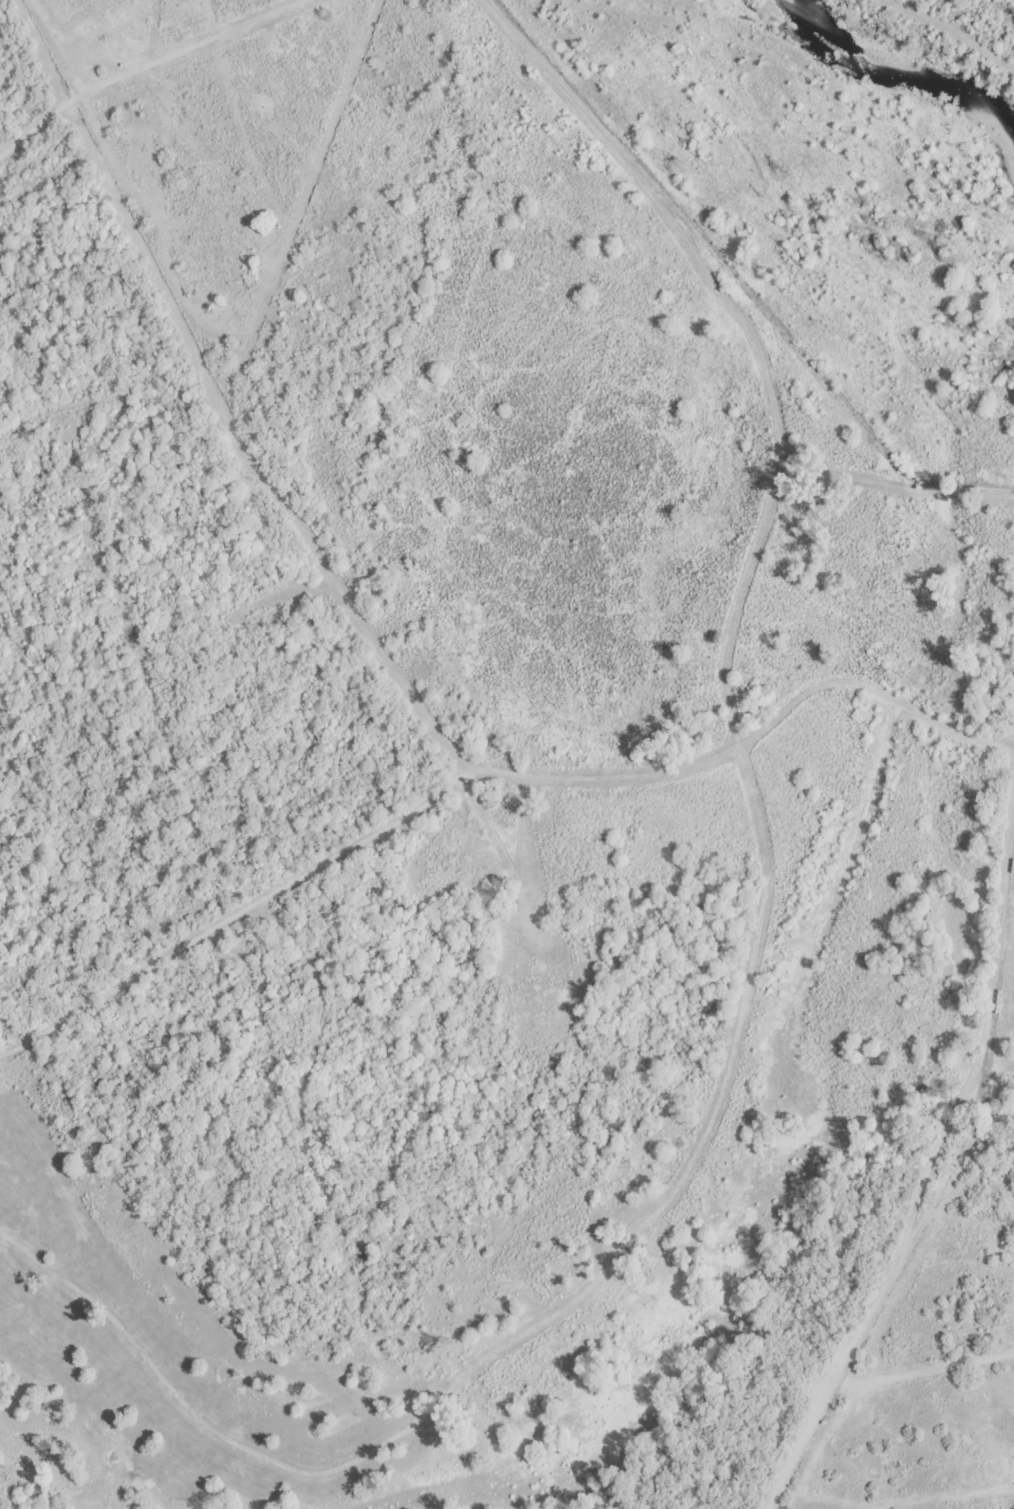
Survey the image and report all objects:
river: (901, 74)
road: (380, 637)
road: (246, 918)
road: (863, 1392)
road: (842, 1455)

